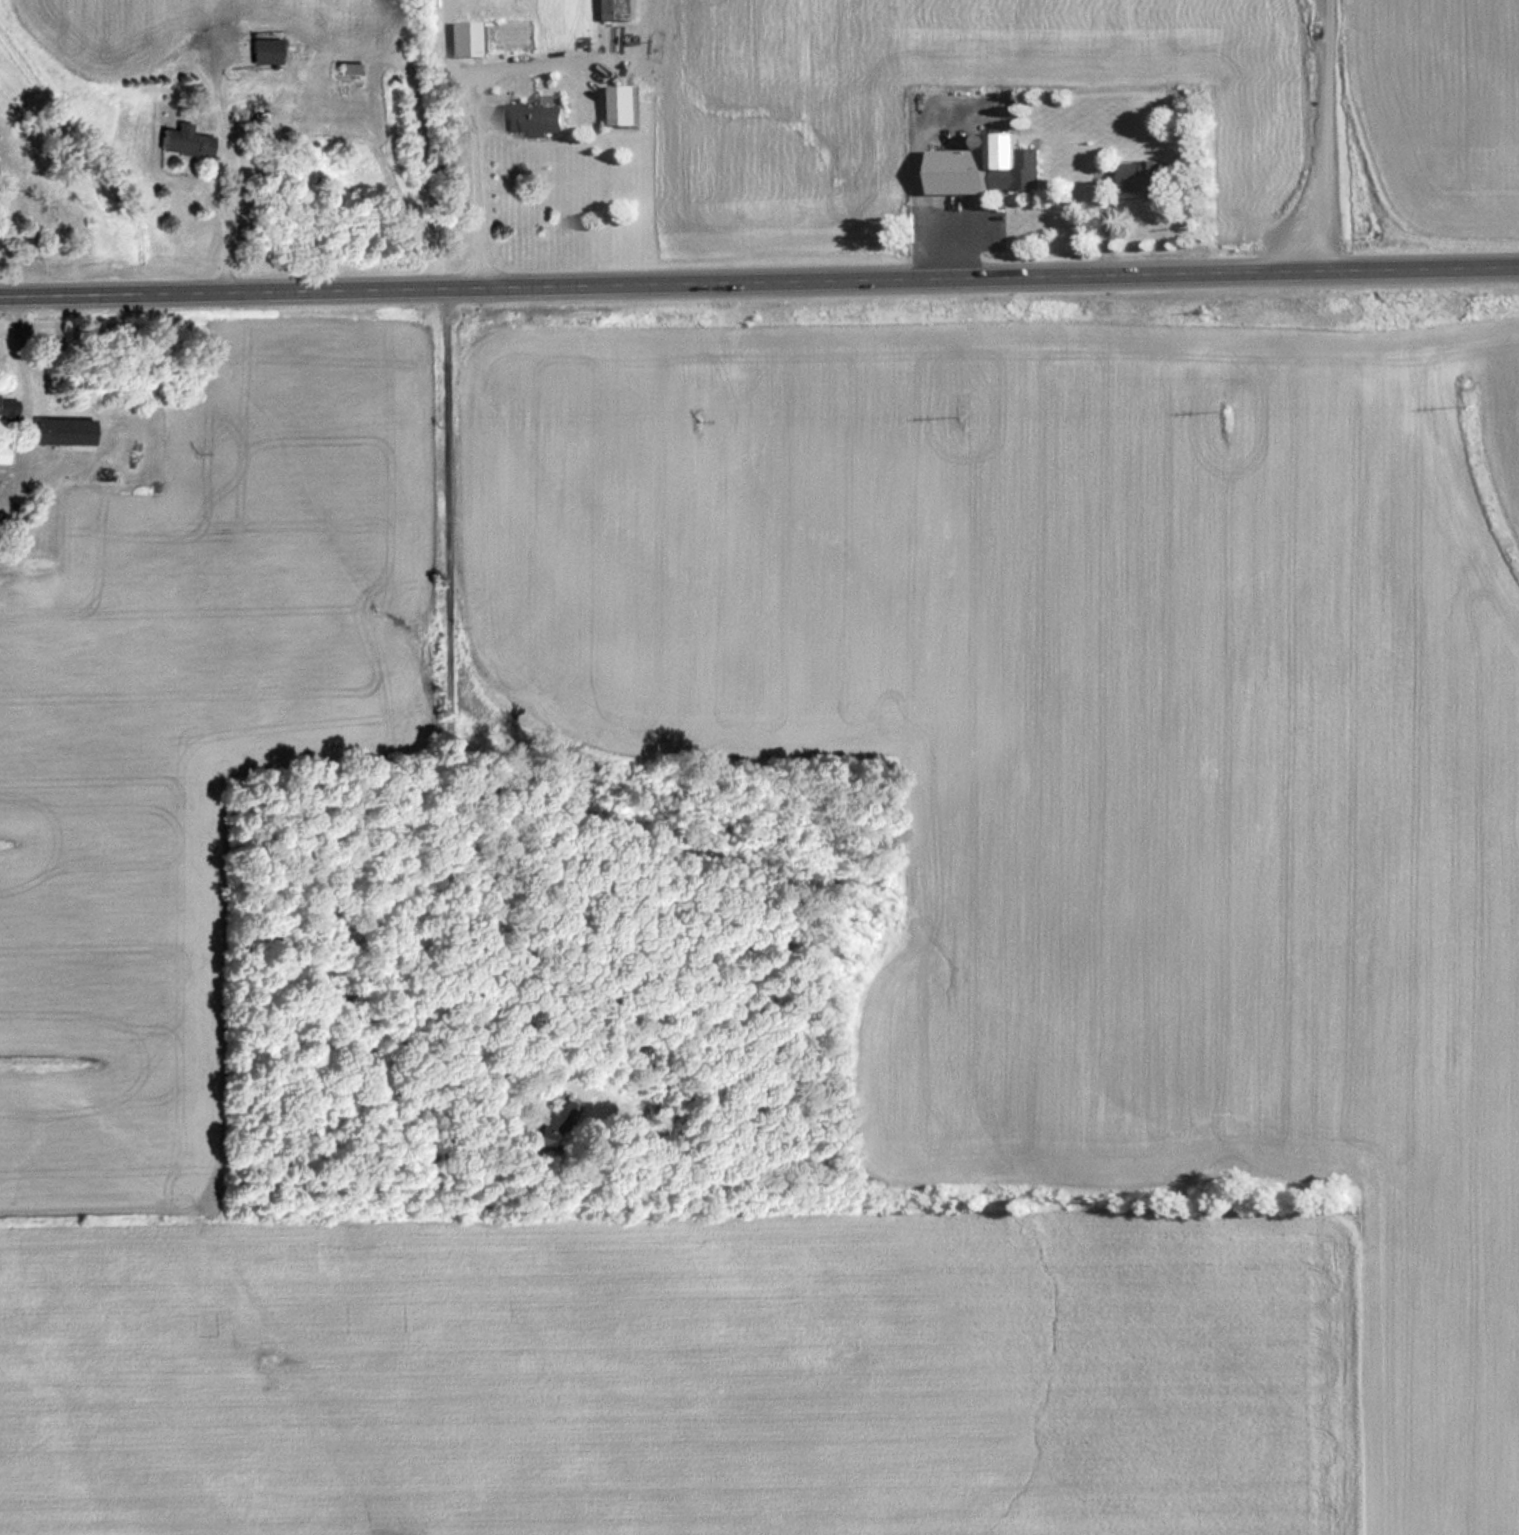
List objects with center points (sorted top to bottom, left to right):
building: (616, 10)
building: (465, 38)
road: (444, 48)
building: (261, 50)
road: (572, 60)
building: (345, 68)
building: (620, 106)
building: (531, 118)
building: (181, 140)
building: (980, 165)
road: (913, 171)
building: (1139, 176)
road: (476, 190)
road: (759, 286)
road: (27, 381)
building: (6, 404)
building: (59, 429)
building: (1, 454)
building: (31, 576)

